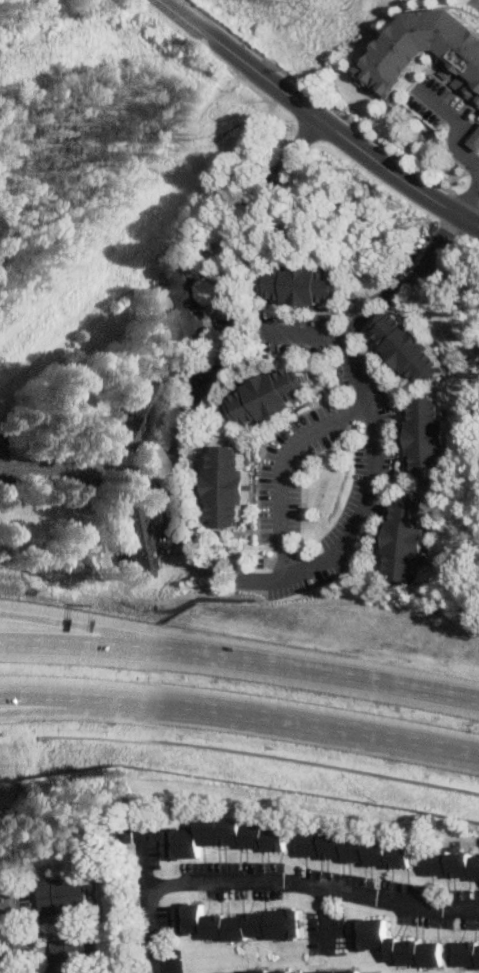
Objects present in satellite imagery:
road: (174, 3)
building: (429, 50)
road: (438, 102)
road: (330, 108)
road: (319, 117)
building: (476, 141)
road: (456, 146)
road: (469, 200)
building: (305, 285)
building: (181, 301)
road: (311, 333)
road: (228, 346)
building: (410, 349)
building: (270, 396)
building: (145, 400)
road: (371, 419)
building: (429, 438)
road: (281, 467)
road: (81, 470)
building: (228, 487)
building: (407, 538)
building: (139, 542)
road: (120, 634)
road: (240, 660)
road: (86, 696)
road: (85, 707)
road: (325, 727)
building: (126, 832)
building: (224, 838)
building: (356, 850)
road: (139, 859)
building: (452, 865)
road: (272, 878)
building: (62, 896)
road: (325, 918)
building: (238, 924)
road: (13, 932)
building: (395, 944)
building: (467, 955)
building: (68, 956)
building: (265, 971)
building: (349, 971)

